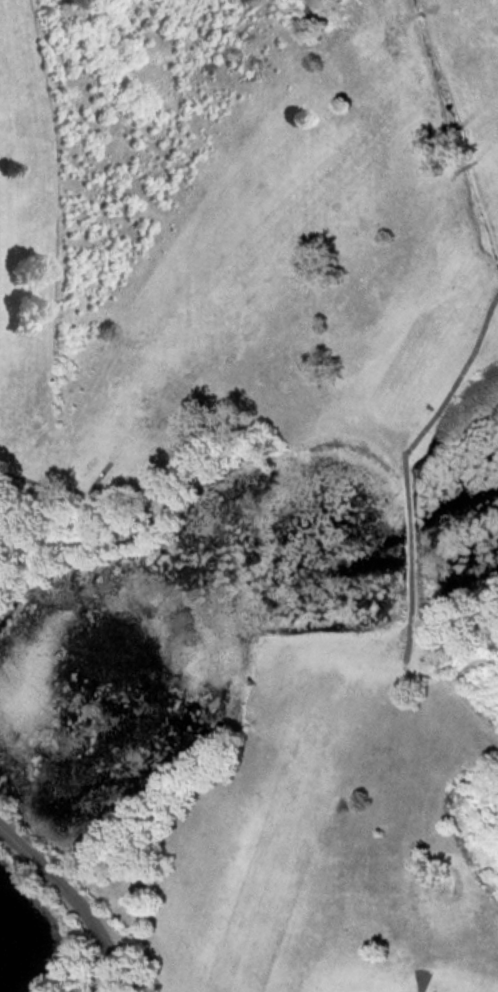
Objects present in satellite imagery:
park: (255, 480)
road: (75, 896)

